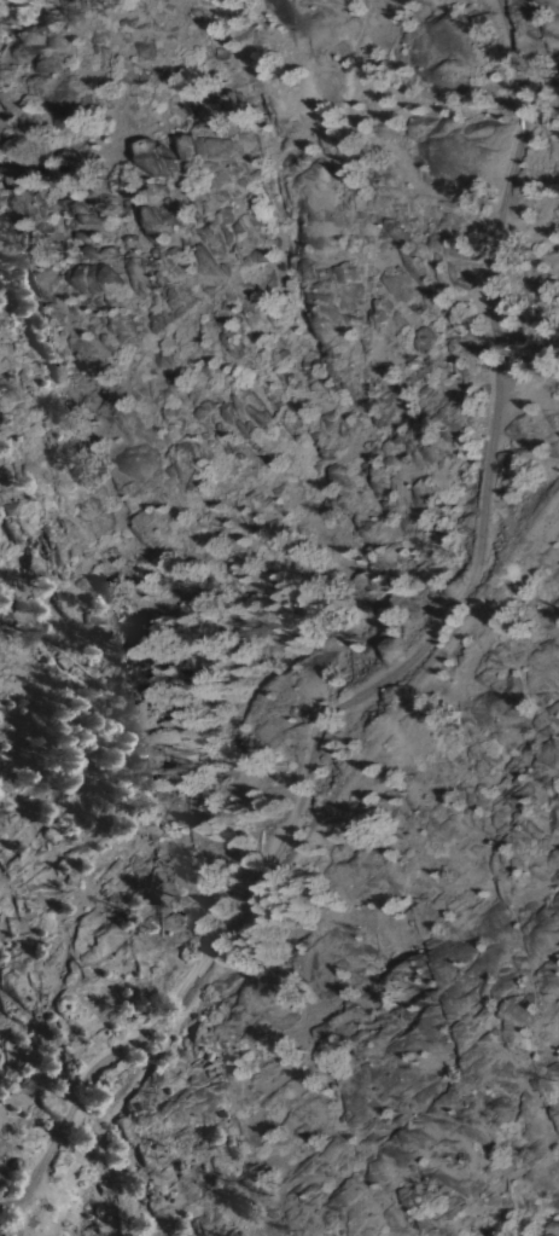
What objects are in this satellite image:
road: (528, 393)
road: (398, 657)

